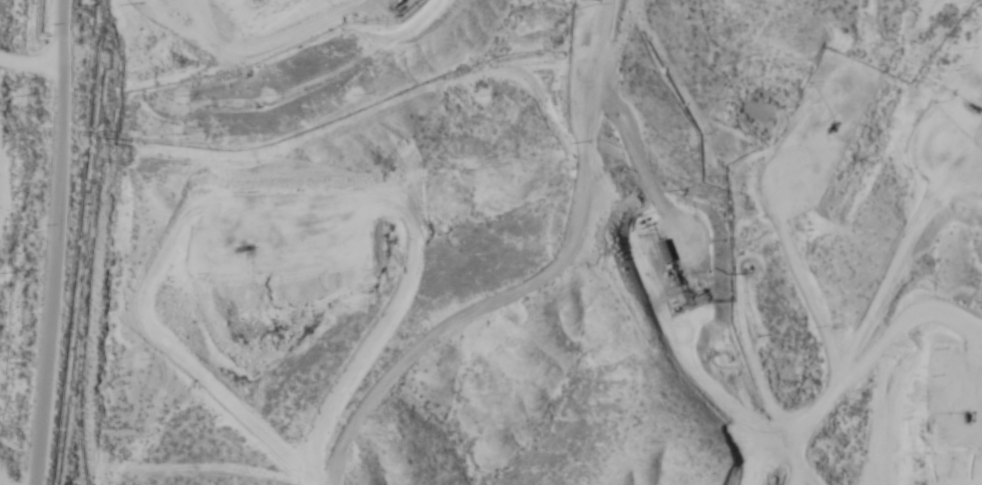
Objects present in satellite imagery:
road: (13, 131)
road: (505, 270)
road: (629, 301)
road: (843, 316)

